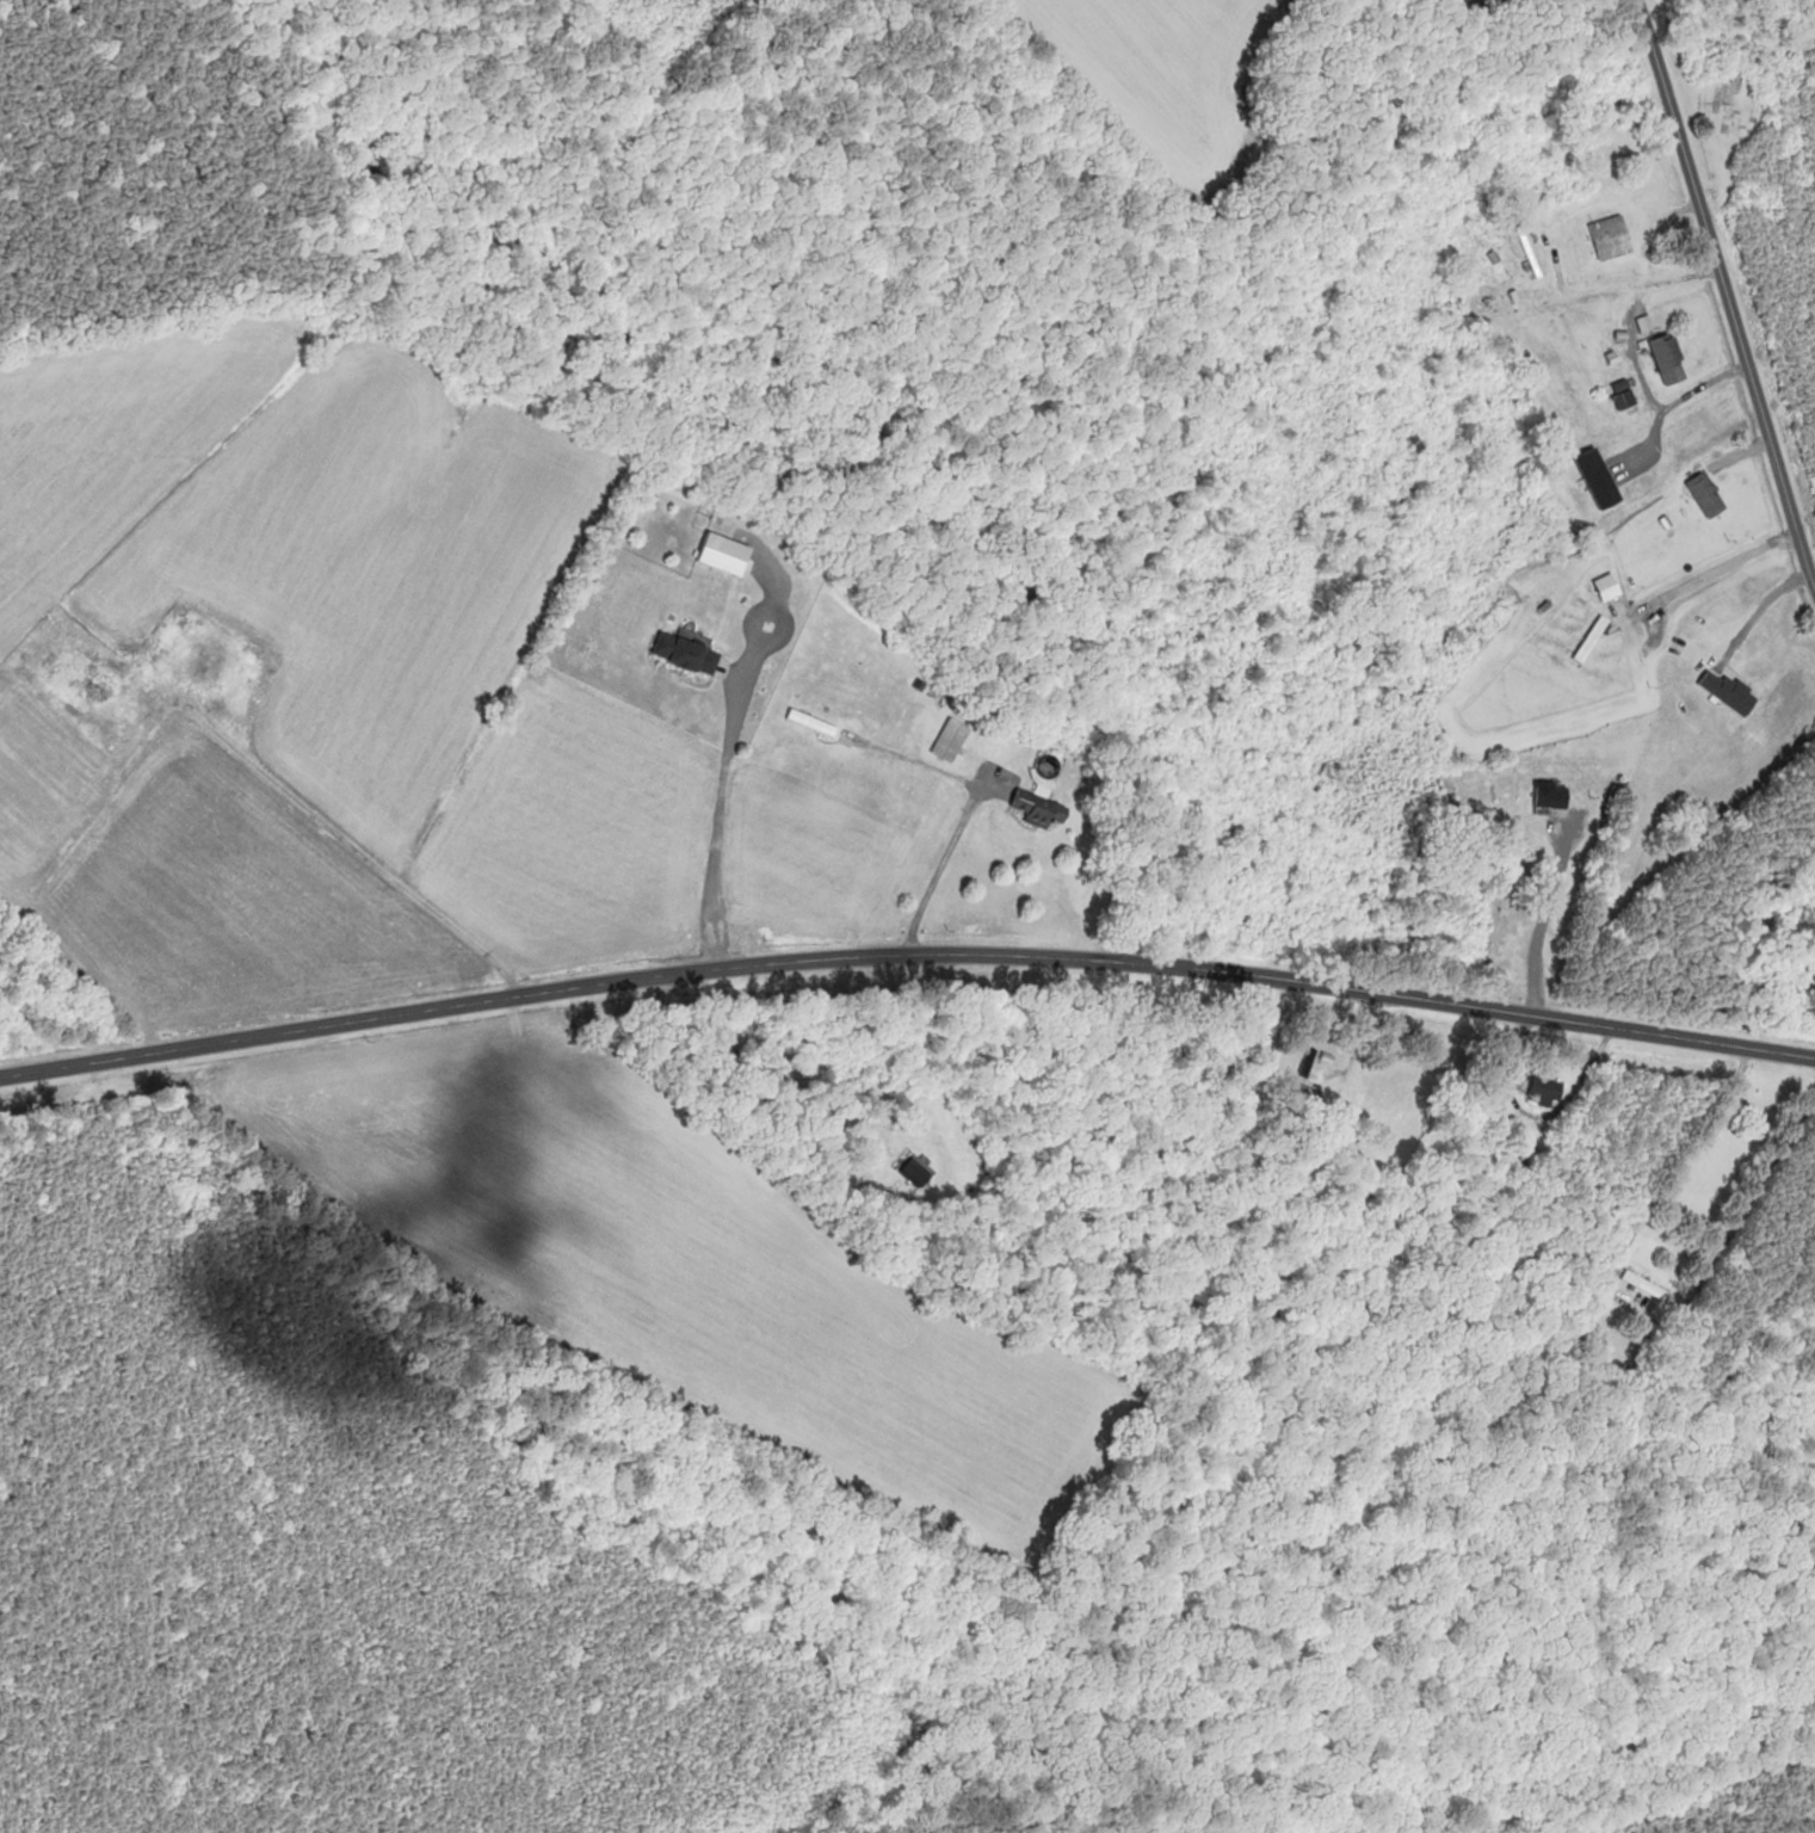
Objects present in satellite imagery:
building: (1610, 237)
building: (1530, 252)
road: (1726, 296)
building: (1481, 304)
building: (1668, 359)
building: (1620, 394)
building: (1691, 430)
building: (1655, 473)
building: (1706, 495)
building: (724, 554)
building: (1607, 586)
building: (1591, 638)
building: (687, 654)
building: (208, 661)
building: (99, 690)
building: (813, 723)
building: (950, 741)
building: (1551, 797)
building: (1033, 810)
road: (957, 832)
road: (716, 840)
road: (906, 953)
building: (1320, 1067)
building: (1542, 1091)
building: (915, 1168)
building: (1644, 1285)

